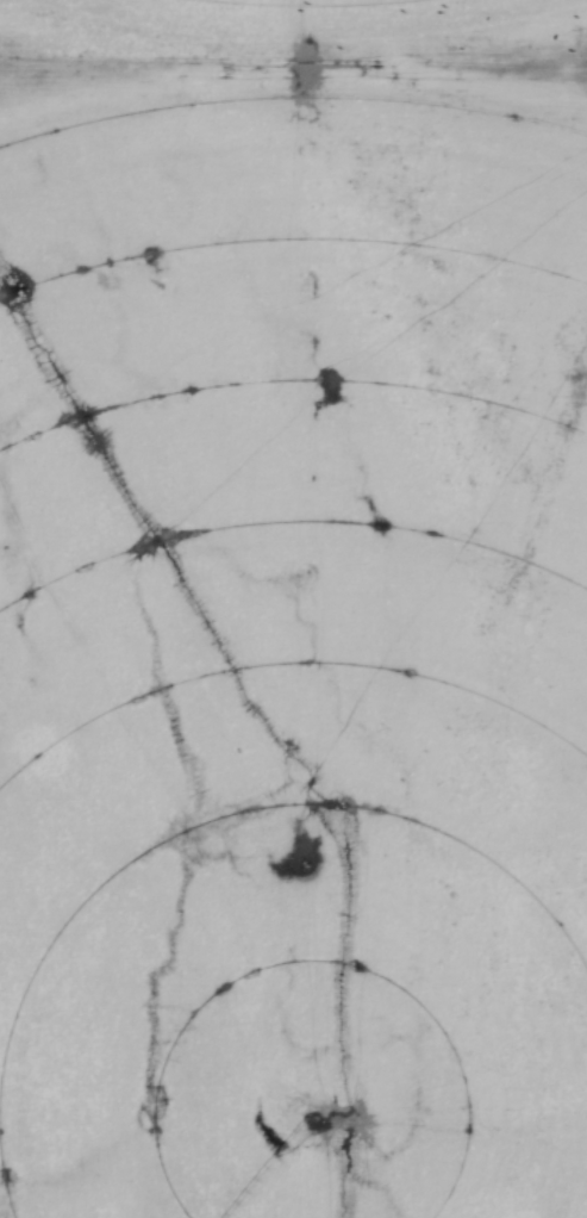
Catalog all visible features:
crop: (304, 32)
crop: (293, 641)

